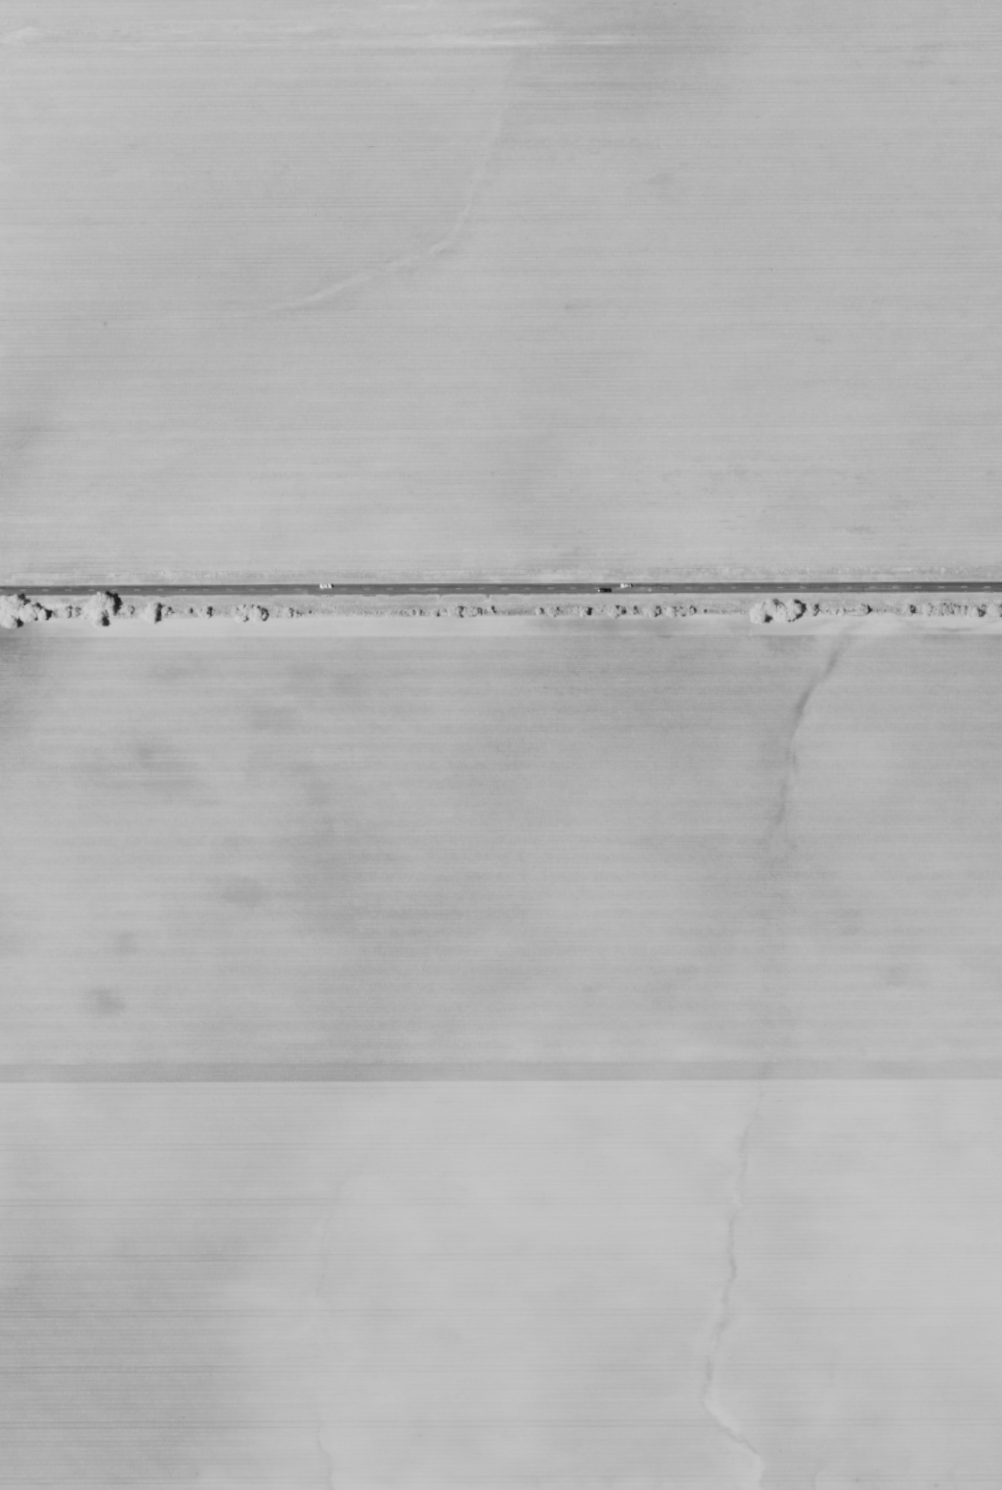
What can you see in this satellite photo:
road: (501, 587)

